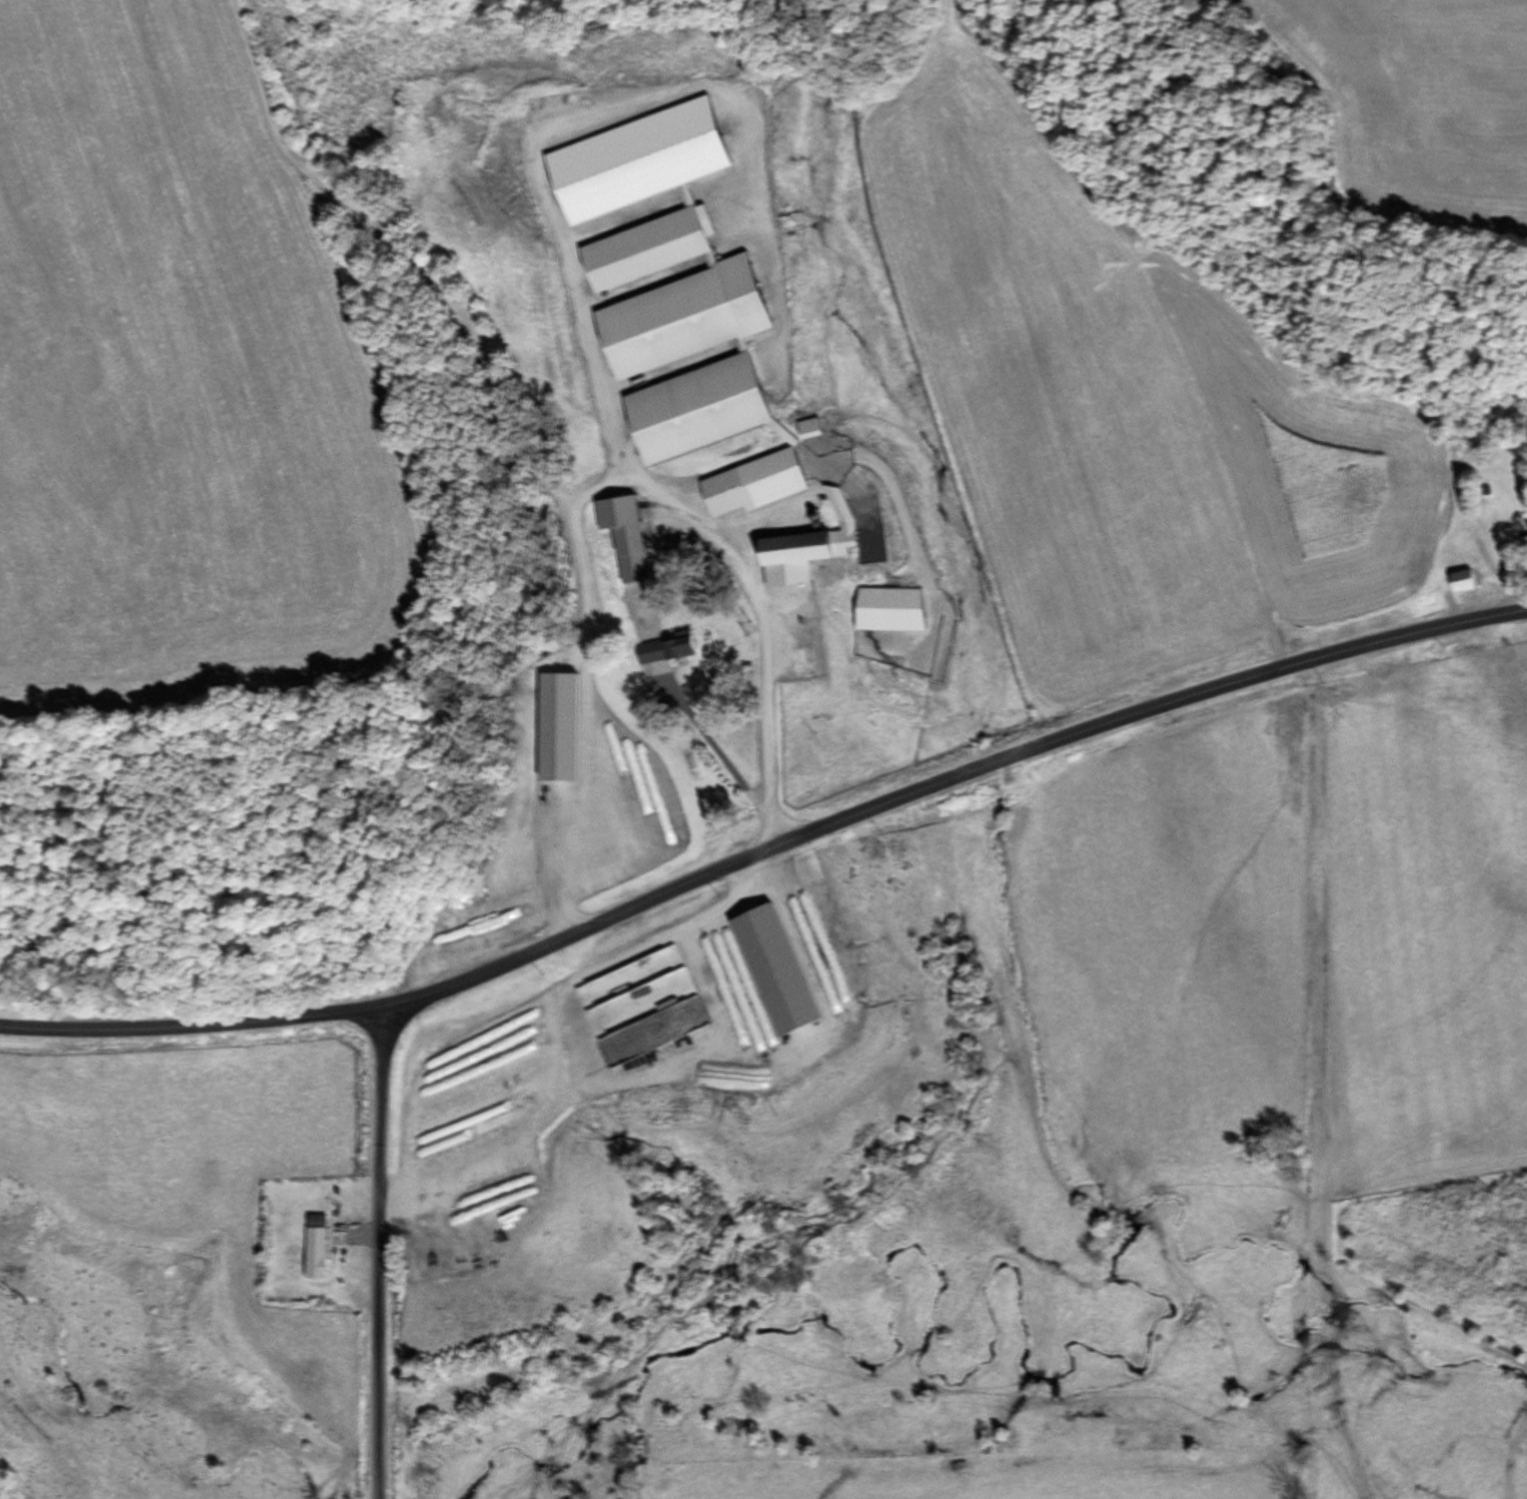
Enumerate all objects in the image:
building: (698, 410)
building: (811, 429)
building: (765, 481)
road: (592, 485)
building: (632, 554)
building: (807, 554)
building: (1465, 581)
building: (891, 602)
building: (680, 647)
building: (1518, 701)
road: (766, 847)
road: (384, 1251)
building: (317, 1252)

